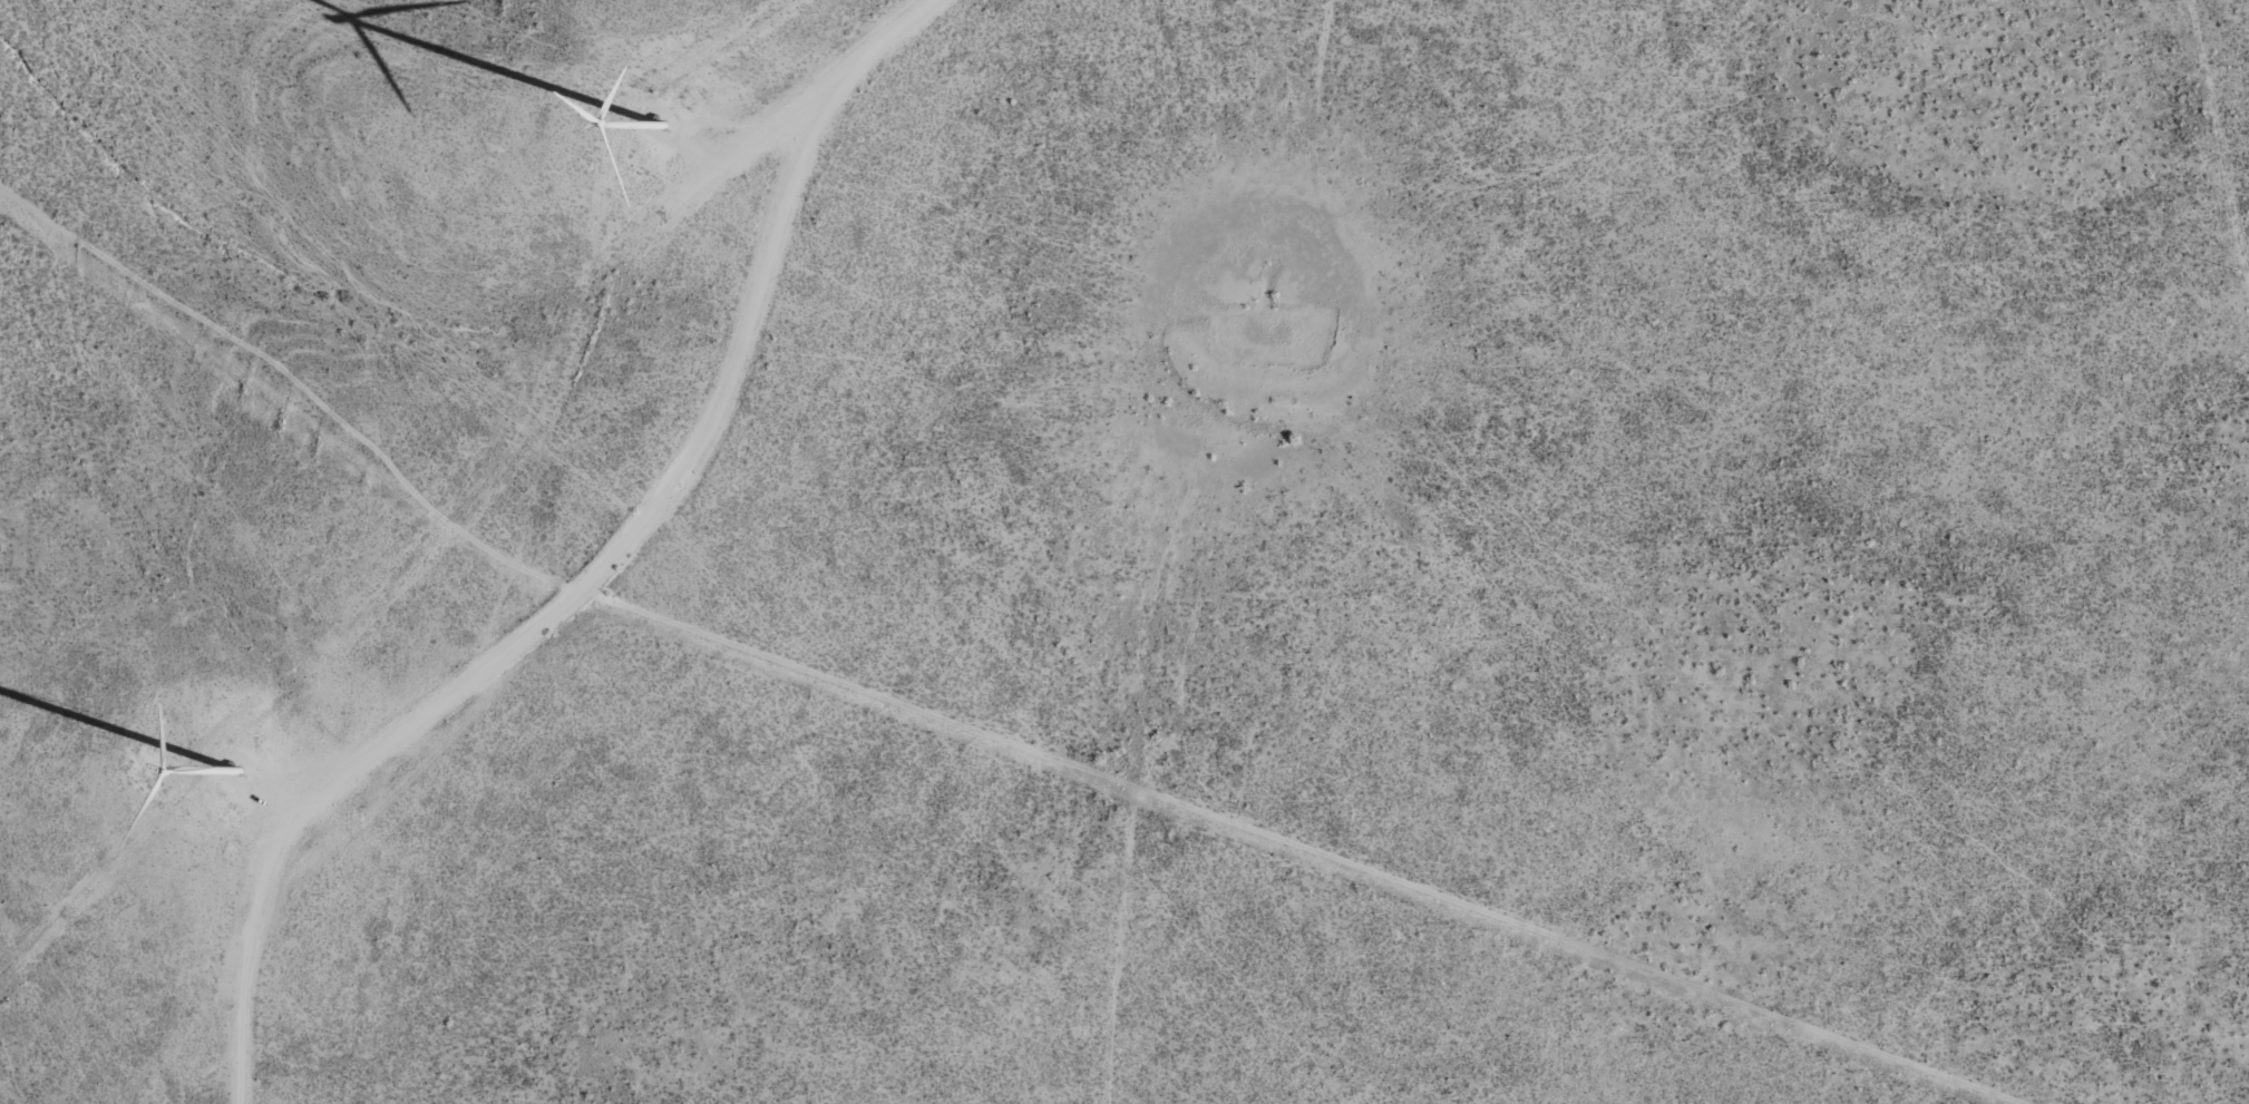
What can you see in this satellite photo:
wind turbine: (656, 123)
power tower: (2236, 274)
wind turbine: (224, 768)

